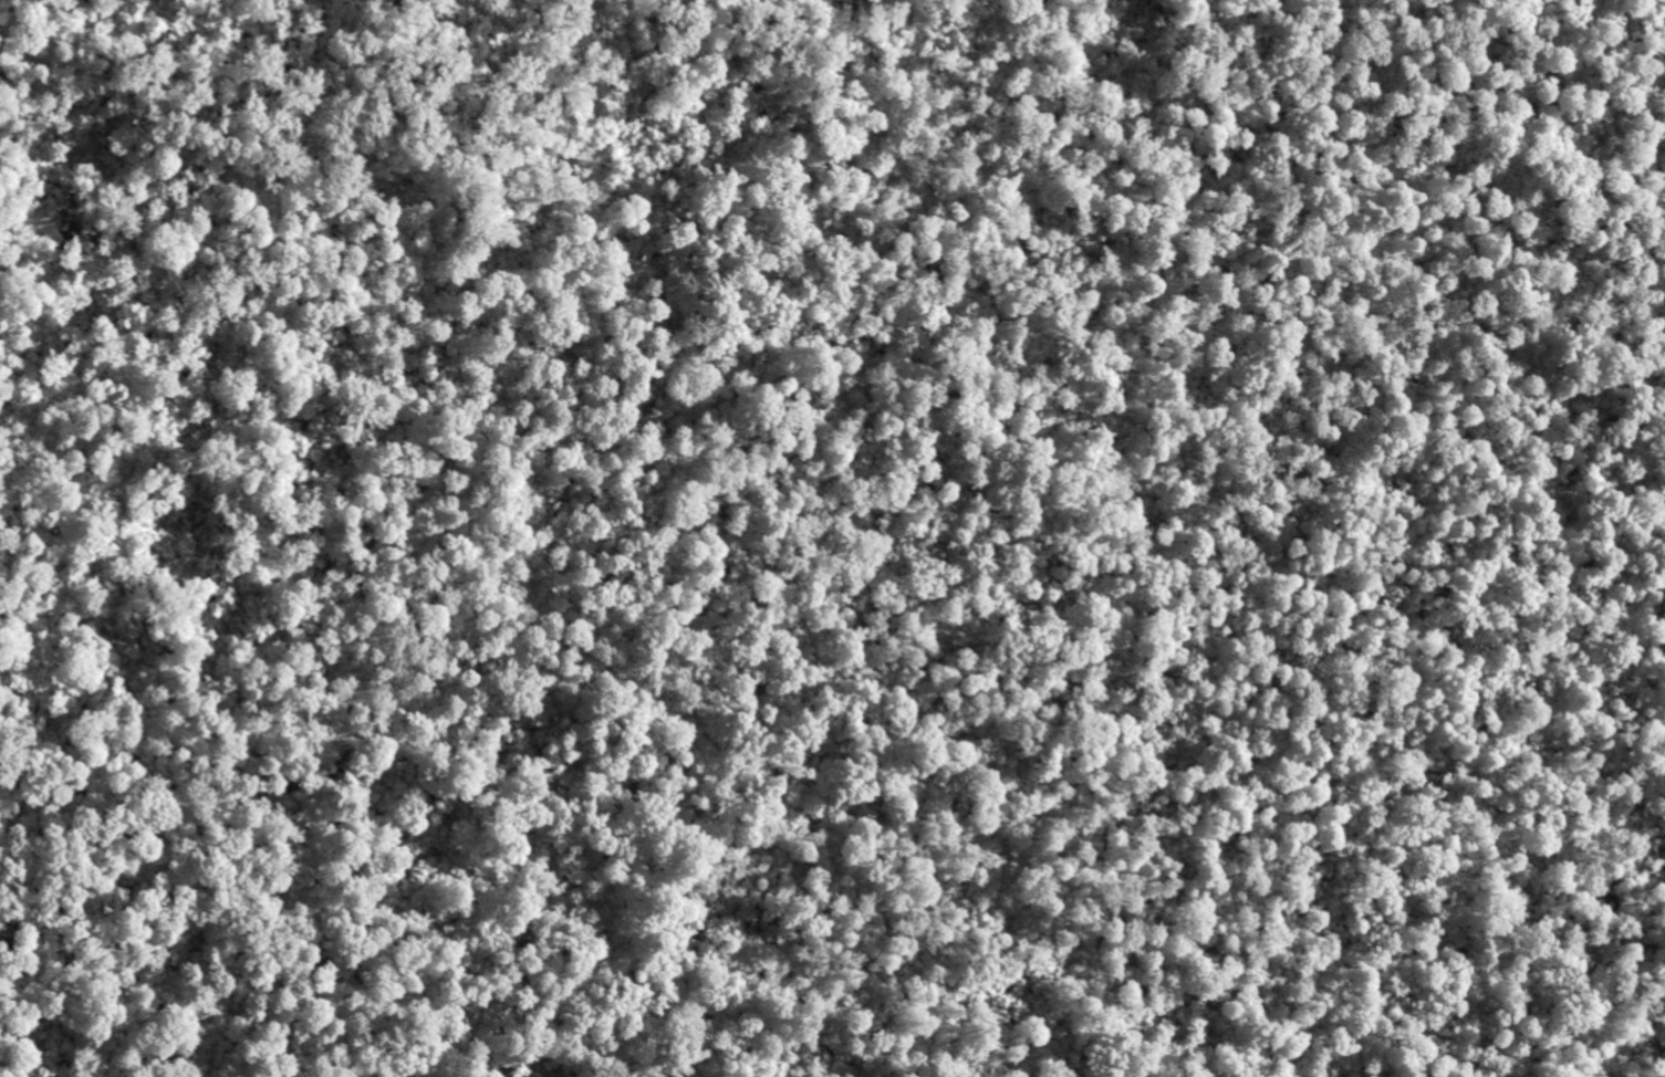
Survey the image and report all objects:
park: (832, 538)

